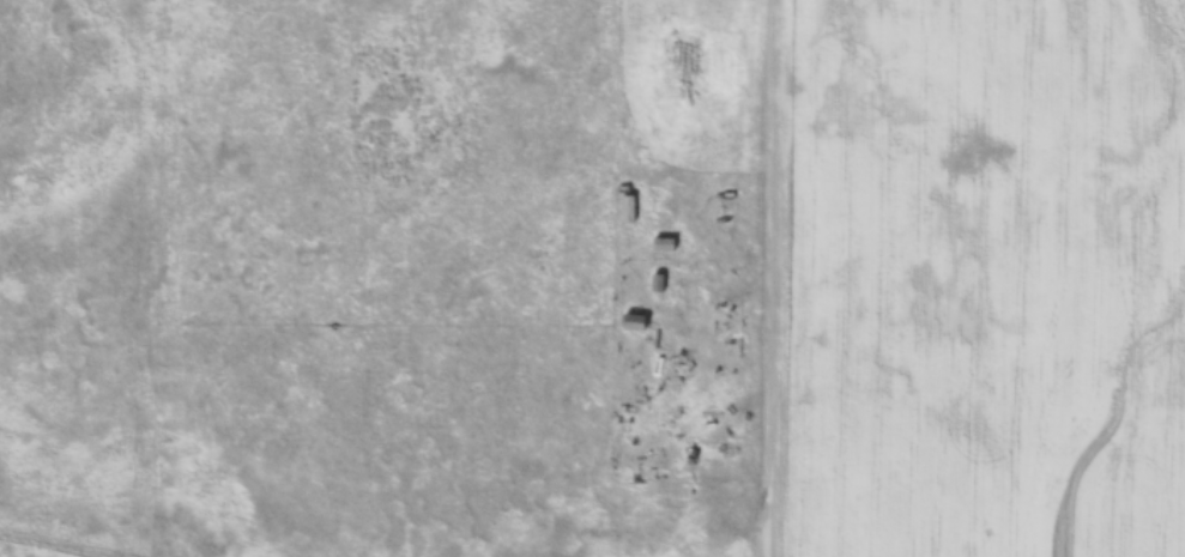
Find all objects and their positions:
building: (625, 210)
building: (660, 246)
road: (767, 278)
building: (654, 284)
building: (629, 323)

